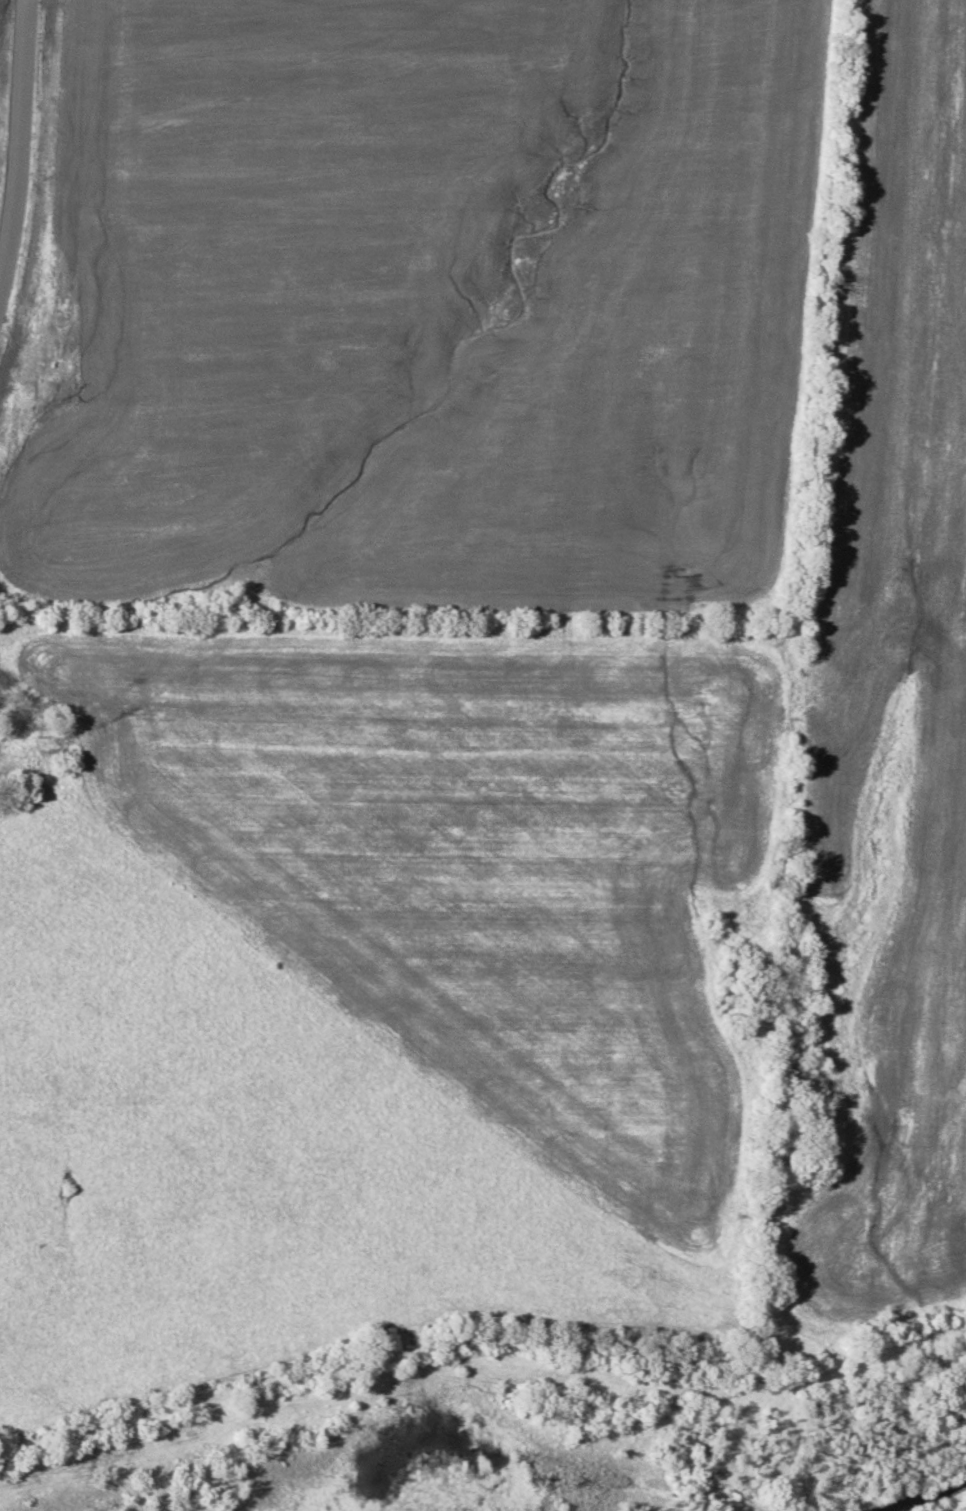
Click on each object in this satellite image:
road: (20, 141)

